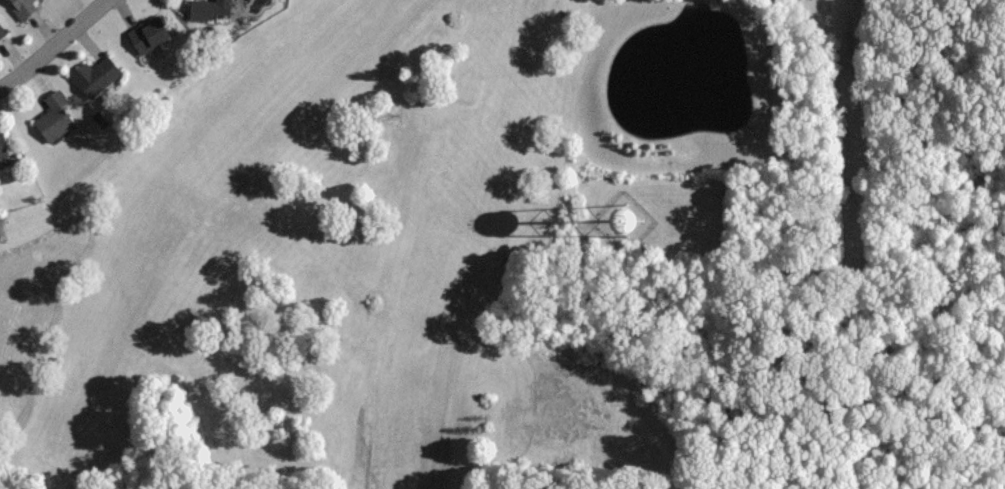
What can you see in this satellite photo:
building: (20, 8)
building: (208, 9)
building: (1, 33)
building: (147, 34)
road: (54, 46)
building: (94, 76)
building: (52, 117)
road: (855, 119)
building: (2, 145)
water tower: (625, 217)
park: (288, 270)

